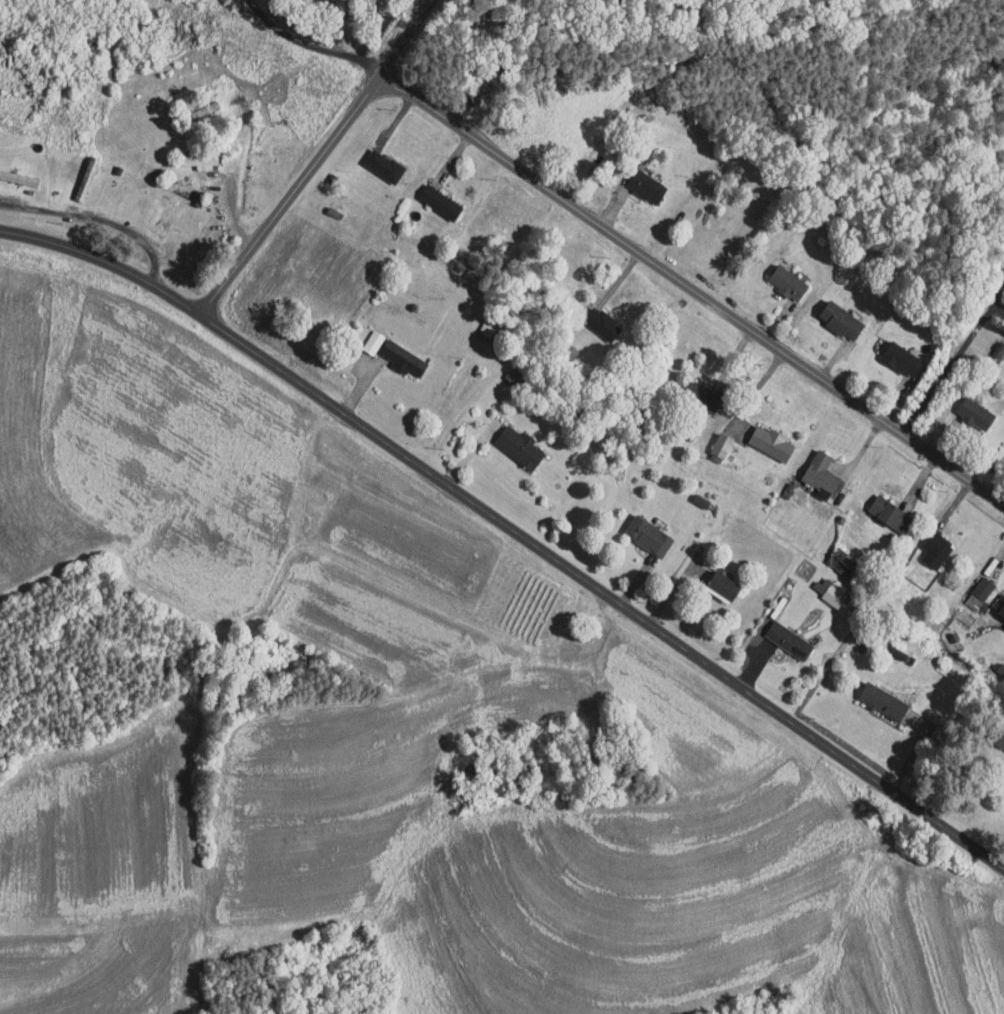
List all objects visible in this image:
road: (401, 42)
road: (319, 45)
building: (373, 159)
building: (635, 180)
building: (429, 196)
building: (160, 207)
road: (575, 210)
road: (97, 221)
building: (777, 276)
building: (831, 314)
building: (591, 317)
building: (477, 324)
building: (362, 336)
building: (393, 353)
building: (891, 353)
road: (948, 367)
building: (965, 407)
building: (759, 435)
building: (710, 438)
building: (509, 440)
building: (810, 467)
building: (879, 506)
building: (638, 528)
road: (511, 530)
building: (924, 542)
building: (830, 554)
building: (713, 579)
building: (972, 581)
building: (820, 585)
building: (998, 607)
building: (778, 633)
building: (872, 694)
building: (994, 731)

